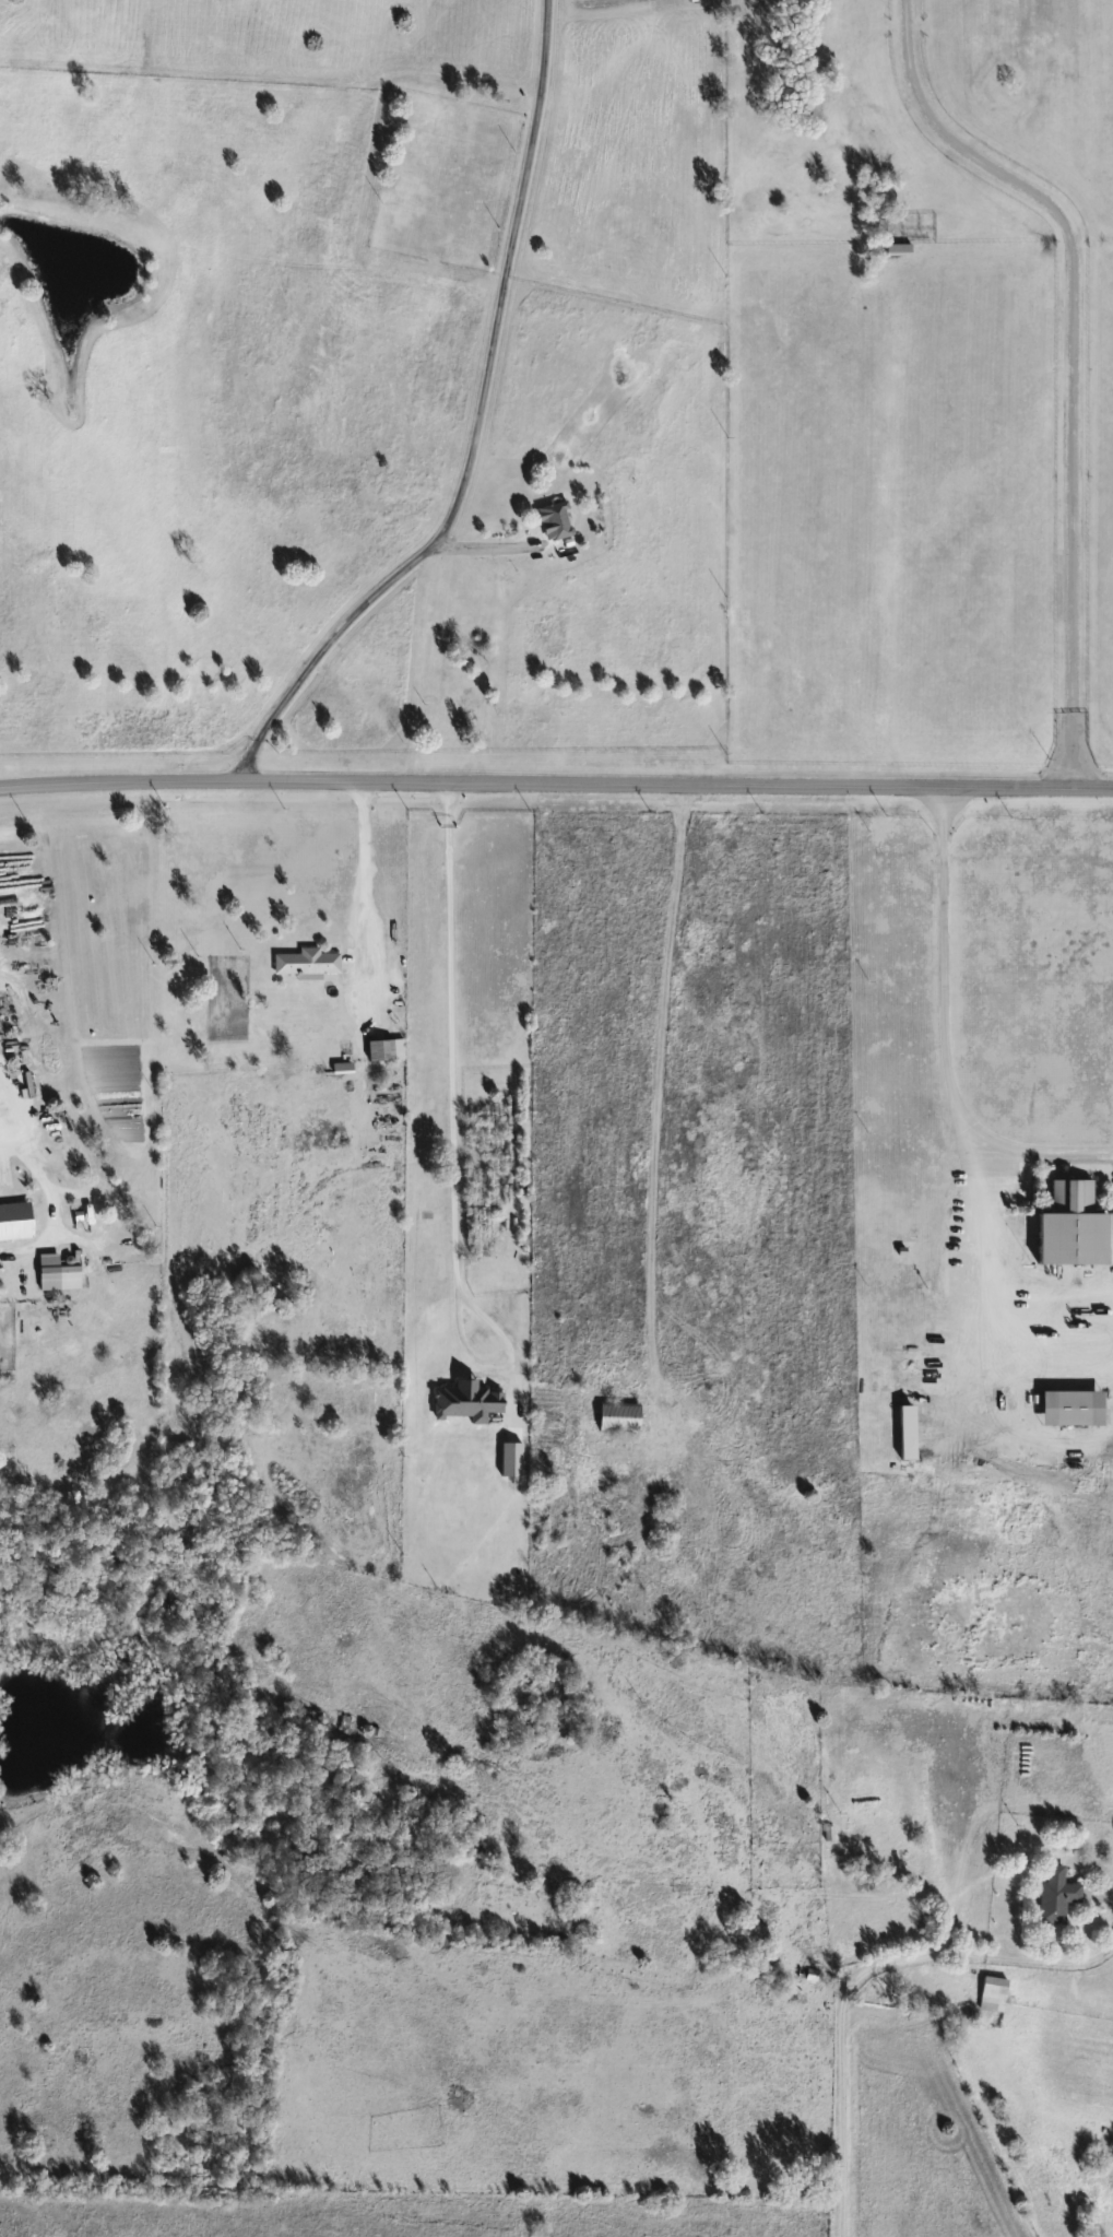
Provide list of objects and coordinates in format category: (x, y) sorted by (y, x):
building: (900, 249)
road: (1064, 356)
road: (476, 429)
building: (558, 519)
road: (484, 544)
road: (556, 782)
road: (365, 857)
building: (308, 961)
road: (945, 1037)
building: (387, 1049)
road: (654, 1093)
road: (3, 1123)
road: (447, 1141)
building: (17, 1220)
building: (1078, 1223)
road: (967, 1255)
building: (25, 1267)
building: (62, 1270)
building: (905, 1333)
building: (1077, 1405)
building: (620, 1415)
road: (1002, 1446)
building: (484, 1474)
building: (901, 1870)
building: (1058, 1893)
building: (807, 1973)
building: (994, 1992)
road: (846, 1993)

